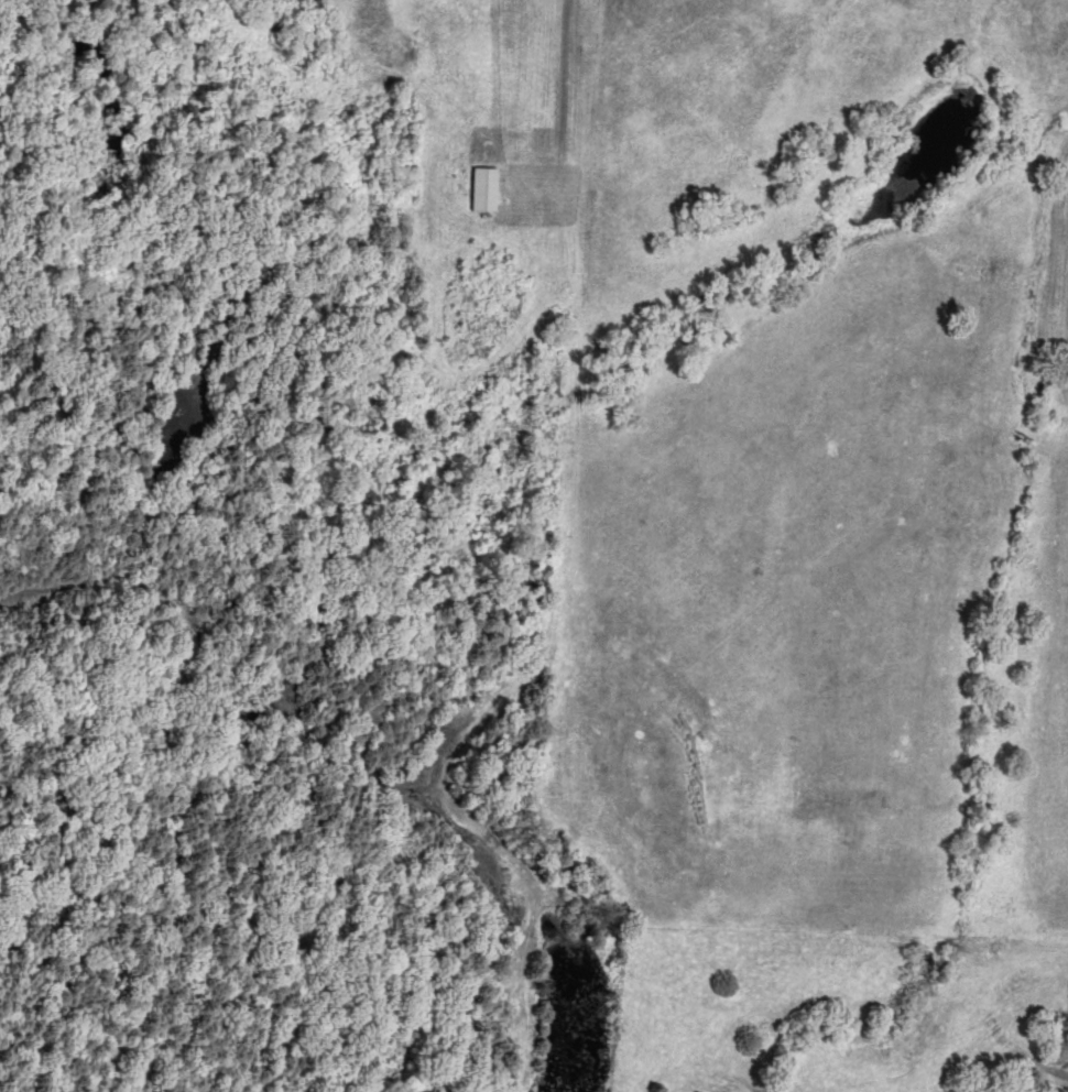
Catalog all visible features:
building: (480, 185)

